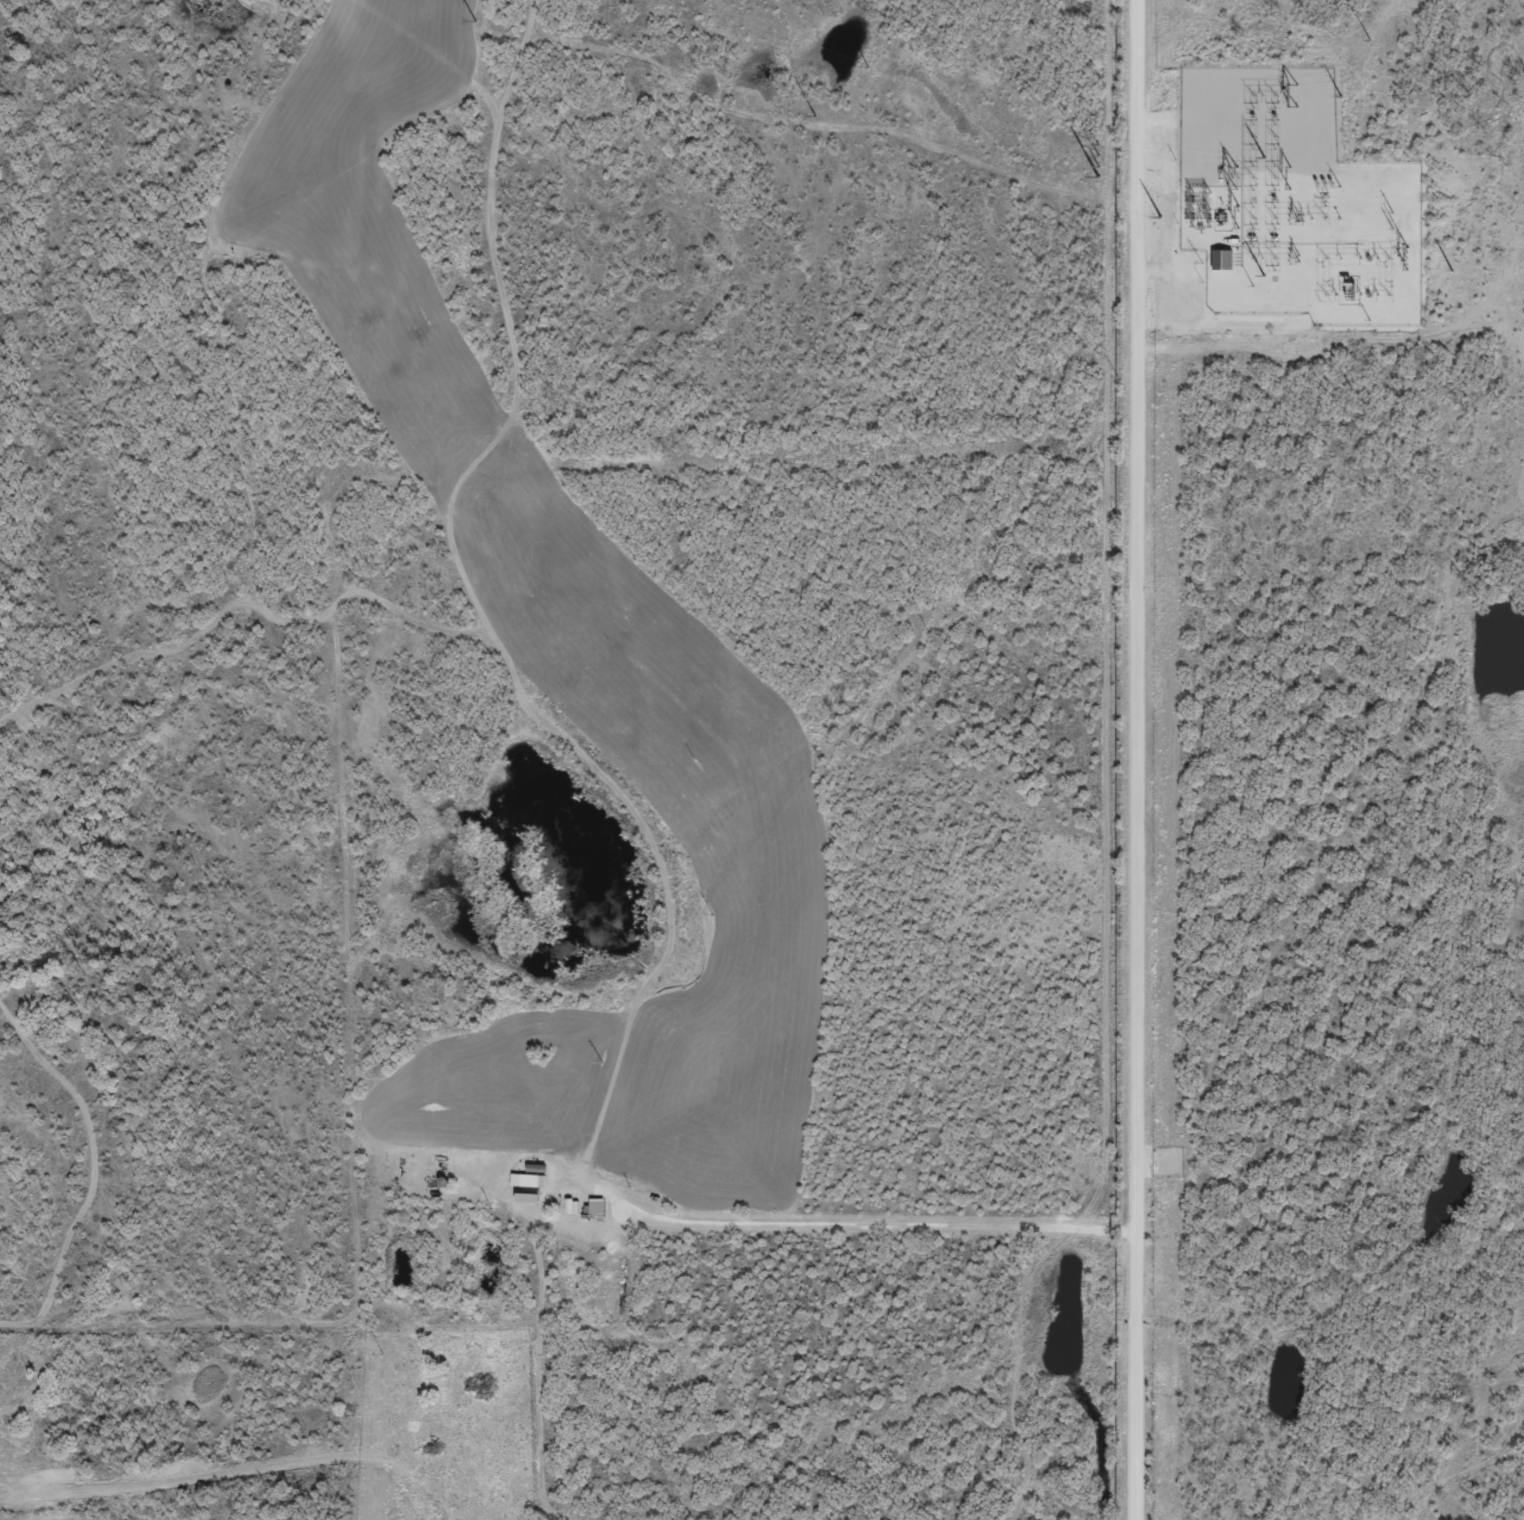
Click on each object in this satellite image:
power substation: (1293, 204)
power tower: (1300, 219)
power tower: (1391, 222)
power tower: (1298, 258)
building: (1224, 267)
road: (1131, 760)
road: (975, 781)
building: (527, 1185)
building: (524, 1206)
building: (594, 1214)
road: (845, 1224)

